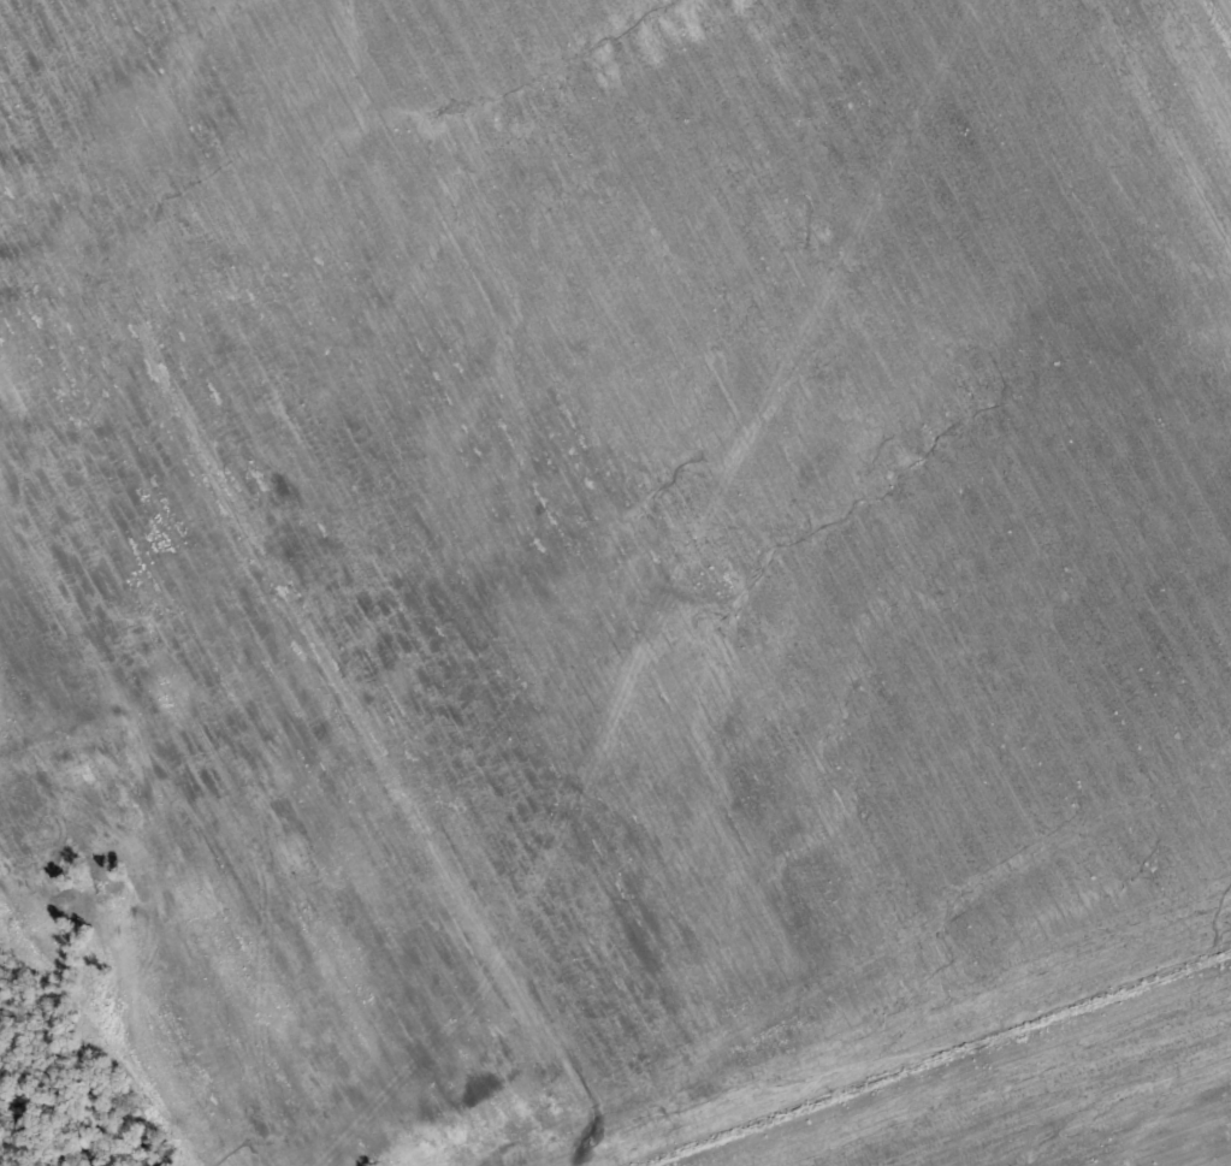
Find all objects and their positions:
road: (1227, 6)

